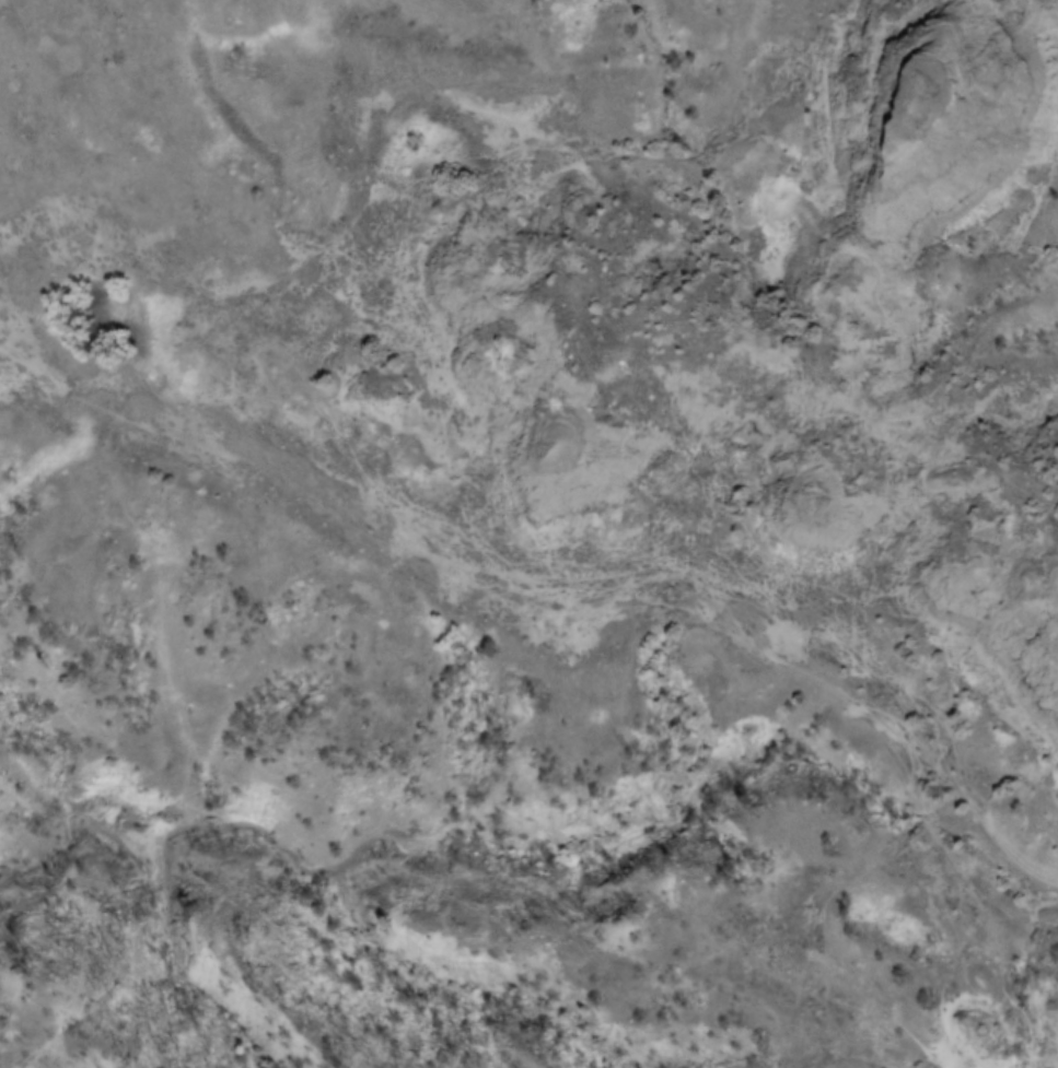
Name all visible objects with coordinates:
road: (550, 608)

